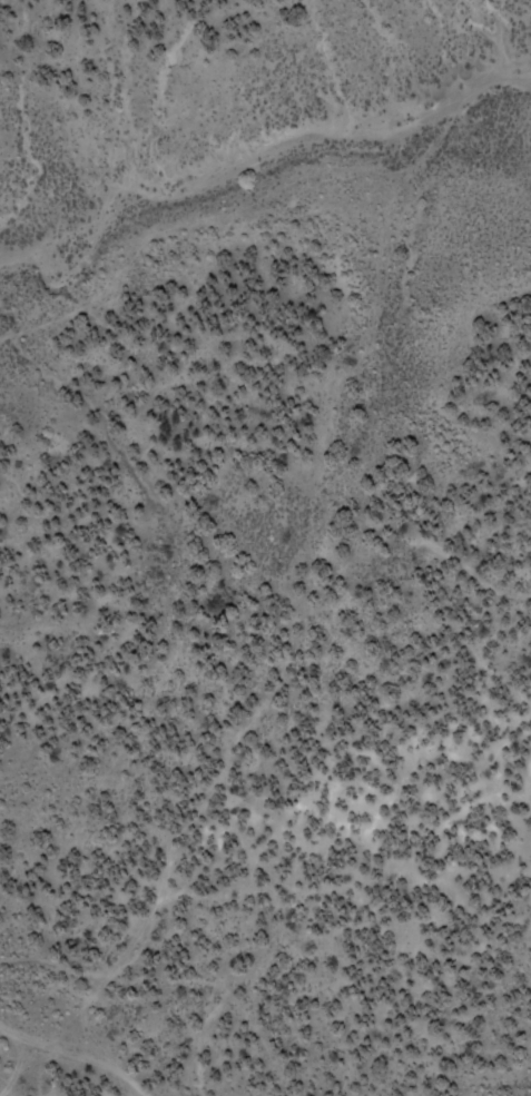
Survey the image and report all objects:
road: (459, 561)
road: (76, 1055)

